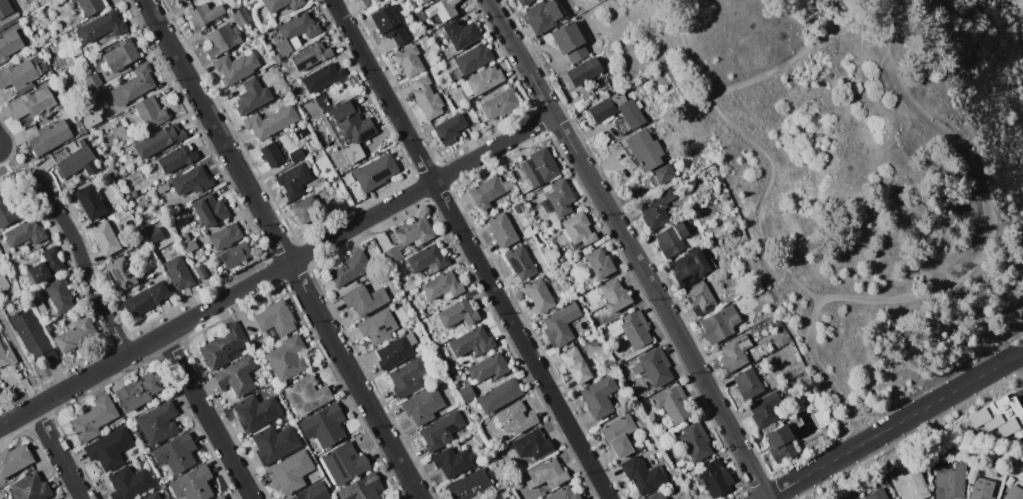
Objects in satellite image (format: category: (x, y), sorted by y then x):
building: (177, 0)
building: (180, 0)
building: (420, 1)
road: (667, 1)
building: (524, 2)
building: (282, 4)
building: (370, 4)
building: (90, 6)
building: (5, 9)
building: (442, 9)
building: (205, 14)
building: (544, 15)
building: (242, 16)
building: (389, 25)
building: (102, 26)
building: (297, 30)
building: (417, 33)
building: (460, 34)
building: (222, 39)
building: (424, 39)
building: (570, 41)
building: (9, 46)
building: (121, 55)
building: (312, 56)
road: (795, 58)
building: (471, 60)
building: (409, 61)
building: (235, 68)
building: (584, 72)
building: (18, 75)
building: (323, 77)
building: (641, 79)
building: (481, 81)
building: (93, 82)
building: (133, 86)
building: (287, 90)
building: (252, 96)
building: (427, 98)
building: (31, 104)
building: (499, 104)
building: (601, 111)
building: (150, 112)
building: (631, 114)
building: (93, 120)
building: (271, 121)
building: (352, 127)
building: (449, 129)
building: (50, 137)
building: (159, 140)
building: (643, 149)
road: (761, 151)
building: (271, 154)
building: (297, 154)
building: (177, 158)
building: (75, 160)
building: (309, 163)
road: (20, 170)
building: (535, 170)
building: (375, 172)
park: (862, 172)
building: (664, 173)
building: (191, 180)
building: (323, 180)
building: (294, 181)
building: (163, 188)
building: (489, 191)
building: (132, 193)
building: (126, 197)
building: (558, 198)
building: (90, 201)
building: (306, 208)
building: (517, 208)
building: (210, 210)
building: (657, 210)
building: (7, 211)
building: (545, 223)
building: (502, 230)
building: (578, 230)
building: (527, 232)
building: (25, 233)
building: (155, 235)
building: (226, 236)
building: (184, 237)
building: (104, 238)
building: (408, 239)
building: (671, 239)
building: (190, 246)
building: (206, 247)
road: (630, 247)
road: (283, 249)
road: (471, 249)
building: (236, 255)
building: (428, 259)
building: (520, 262)
building: (599, 263)
building: (46, 266)
building: (692, 267)
road: (964, 267)
building: (349, 269)
road: (277, 270)
road: (86, 271)
building: (201, 271)
building: (178, 272)
building: (120, 274)
building: (6, 283)
building: (443, 286)
building: (60, 295)
building: (538, 296)
building: (614, 296)
building: (145, 299)
building: (365, 299)
building: (700, 299)
building: (40, 306)
building: (458, 313)
building: (275, 319)
building: (560, 324)
building: (720, 324)
building: (379, 326)
building: (632, 329)
building: (74, 334)
building: (33, 335)
building: (472, 342)
building: (224, 346)
building: (770, 347)
building: (396, 351)
building: (735, 353)
building: (7, 356)
building: (287, 358)
building: (754, 358)
road: (1019, 363)
building: (575, 365)
building: (488, 367)
building: (646, 372)
building: (237, 377)
building: (408, 377)
building: (747, 384)
building: (138, 391)
building: (466, 393)
building: (307, 395)
building: (499, 396)
building: (599, 397)
road: (932, 403)
building: (673, 404)
building: (422, 405)
building: (766, 409)
building: (256, 412)
road: (208, 416)
building: (1000, 417)
building: (94, 418)
building: (515, 418)
building: (821, 418)
building: (158, 423)
building: (642, 424)
building: (324, 426)
building: (441, 431)
building: (136, 435)
building: (618, 436)
building: (695, 442)
building: (275, 444)
building: (781, 444)
building: (533, 445)
building: (109, 448)
road: (58, 453)
building: (176, 454)
building: (14, 460)
building: (453, 462)
building: (344, 463)
building: (290, 473)
building: (547, 474)
building: (642, 475)
road: (804, 477)
building: (714, 478)
building: (949, 482)
building: (130, 483)
building: (192, 484)
building: (469, 485)
building: (909, 485)
building: (30, 487)
building: (362, 488)
building: (982, 488)
building: (313, 492)
building: (504, 493)
building: (1014, 493)
building: (564, 494)
building: (876, 494)
building: (152, 496)
building: (658, 496)
building: (220, 497)
building: (495, 497)
building: (55, 498)
building: (894, 498)

